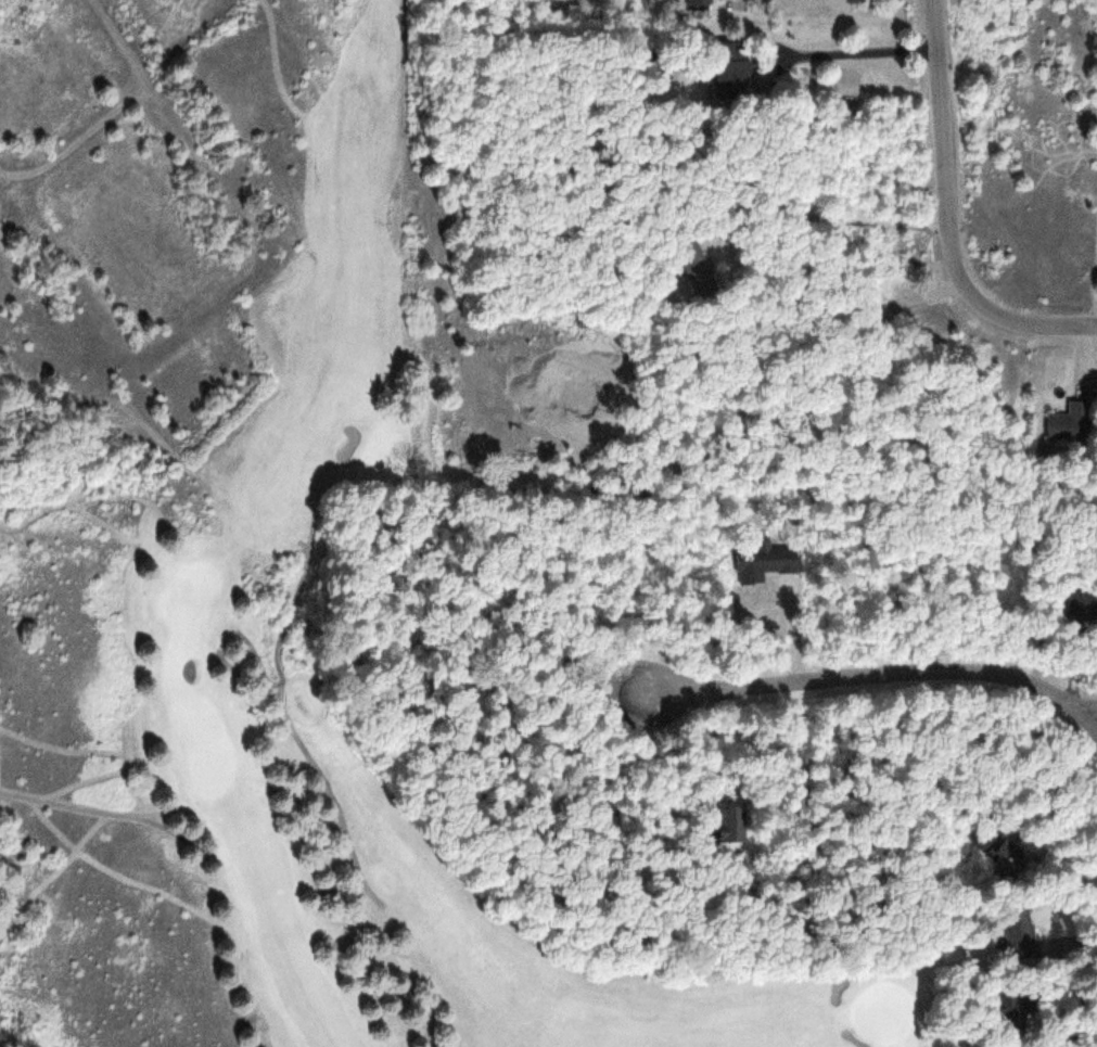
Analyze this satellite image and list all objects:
building: (701, 3)
building: (738, 75)
road: (403, 93)
road: (945, 217)
building: (1070, 423)
building: (756, 563)
park: (267, 572)
building: (1082, 601)
road: (880, 674)
road: (283, 710)
road: (1094, 724)
road: (106, 812)
building: (1026, 923)

